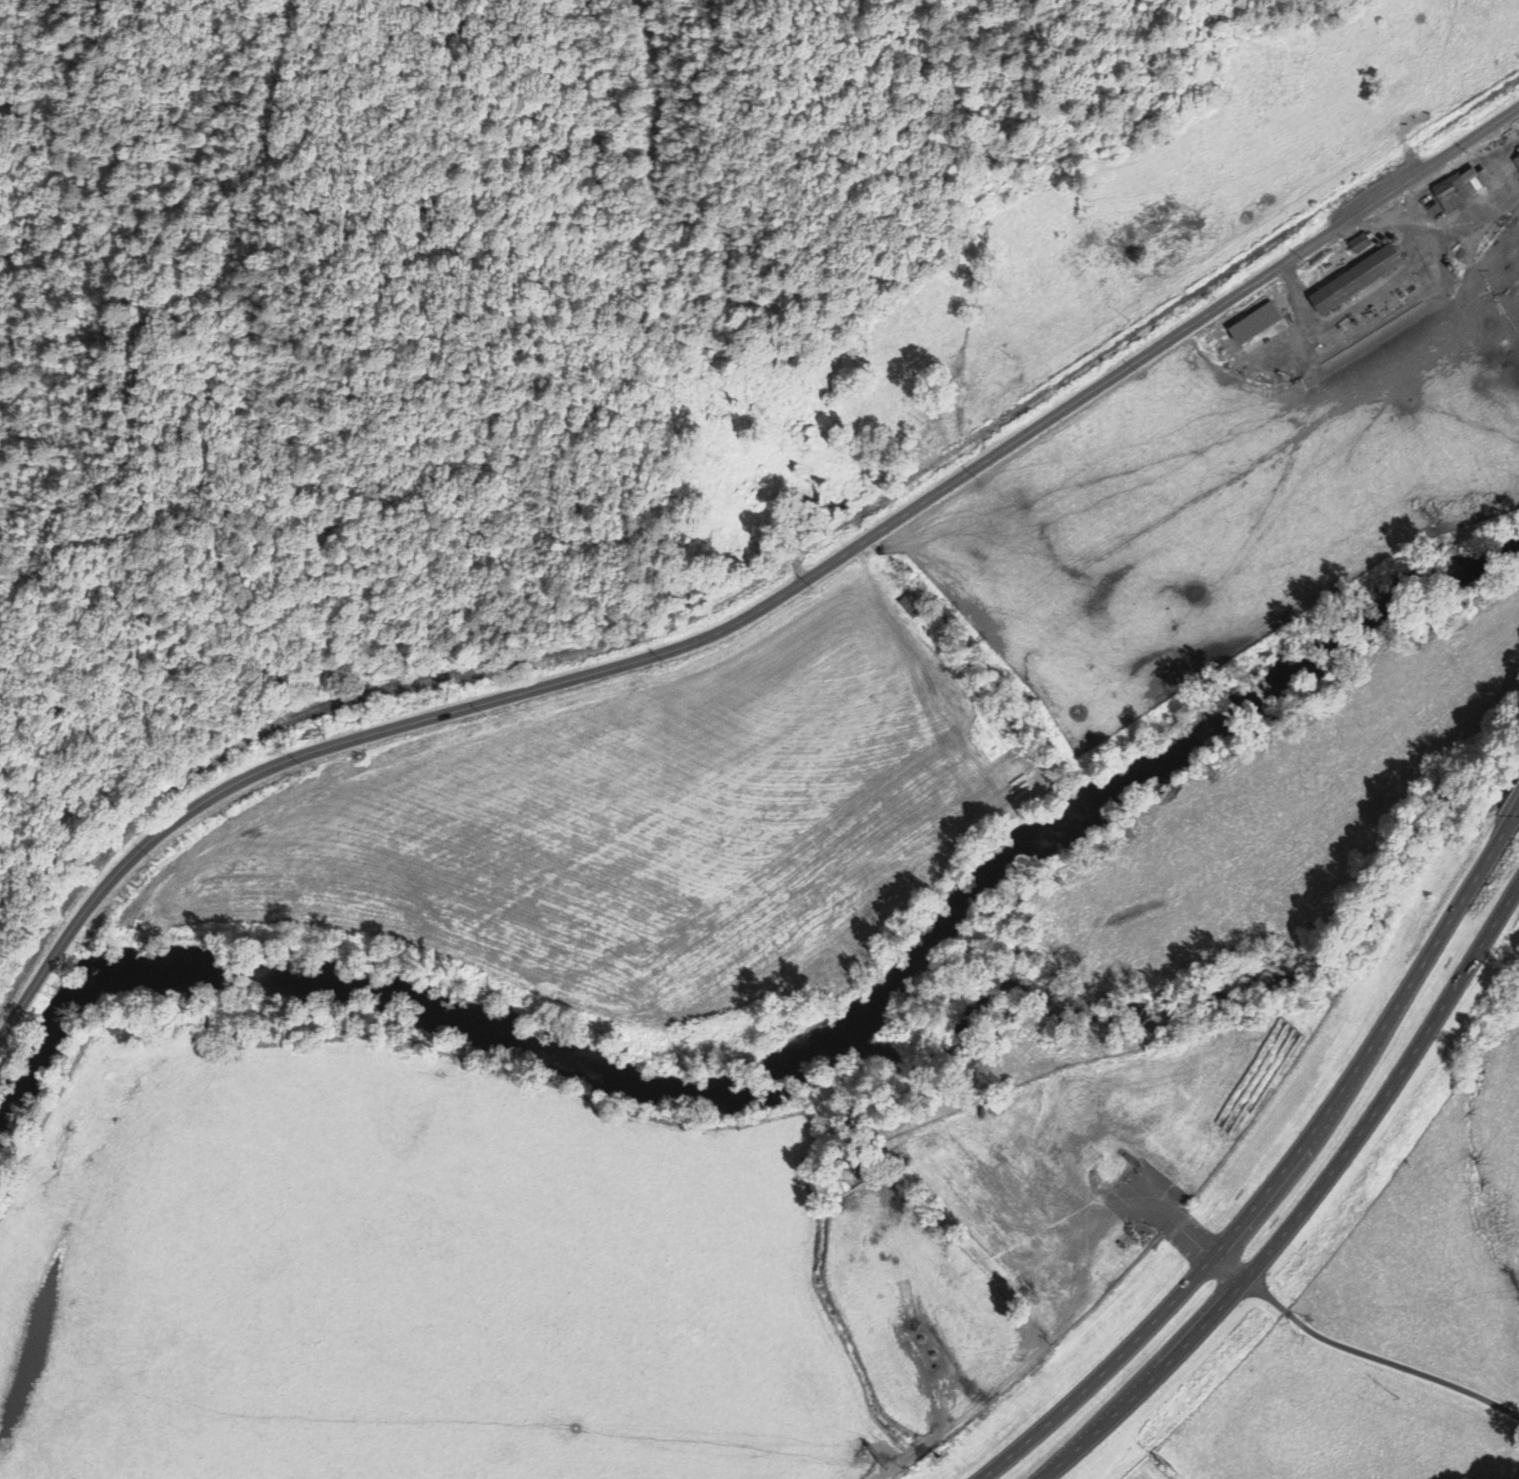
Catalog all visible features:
building: (1515, 162)
building: (1457, 190)
road: (228, 242)
building: (1357, 245)
building: (1351, 281)
railway: (1196, 291)
road: (939, 293)
railway: (861, 515)
road: (760, 609)
railway: (375, 690)
road: (1513, 821)
river: (762, 1079)
road: (1270, 1180)
road: (1305, 1204)
road: (1232, 1266)
power tower: (1402, 1397)

